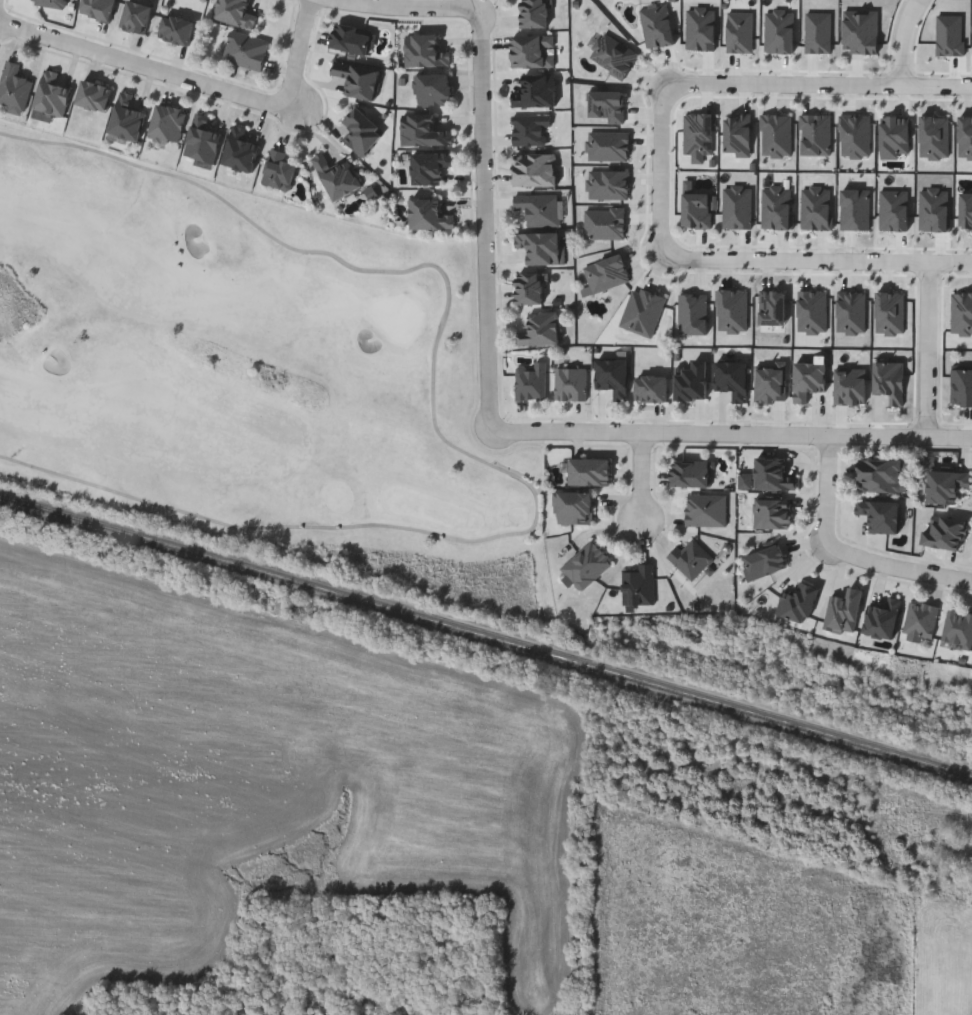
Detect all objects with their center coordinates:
building: (49, 2)
road: (426, 3)
building: (97, 9)
building: (236, 13)
building: (534, 14)
building: (136, 17)
building: (176, 30)
road: (909, 39)
building: (245, 51)
building: (532, 51)
road: (288, 52)
building: (424, 52)
road: (139, 62)
building: (357, 80)
building: (13, 89)
building: (433, 89)
building: (536, 92)
building: (51, 96)
building: (93, 96)
building: (126, 119)
building: (167, 124)
building: (530, 130)
building: (423, 132)
building: (361, 133)
building: (202, 140)
building: (240, 152)
road: (667, 166)
building: (428, 168)
building: (534, 170)
building: (278, 172)
building: (336, 178)
building: (737, 207)
building: (537, 208)
building: (697, 210)
building: (855, 210)
building: (429, 214)
road: (483, 219)
building: (541, 247)
building: (529, 288)
building: (772, 307)
building: (732, 310)
building: (812, 312)
building: (851, 313)
building: (540, 330)
road: (929, 347)
park: (242, 371)
building: (613, 377)
building: (810, 378)
building: (732, 379)
building: (530, 382)
building: (691, 382)
building: (770, 382)
building: (570, 384)
building: (849, 386)
building: (961, 387)
building: (652, 388)
road: (733, 431)
building: (590, 472)
building: (690, 473)
building: (773, 474)
building: (880, 476)
road: (640, 477)
building: (946, 485)
road: (826, 491)
building: (575, 508)
building: (706, 510)
building: (772, 512)
building: (881, 515)
building: (945, 532)
building: (690, 558)
building: (764, 562)
building: (587, 566)
road: (900, 566)
building: (638, 585)
building: (798, 602)
building: (844, 612)
building: (883, 618)
building: (957, 630)
railway: (485, 635)

